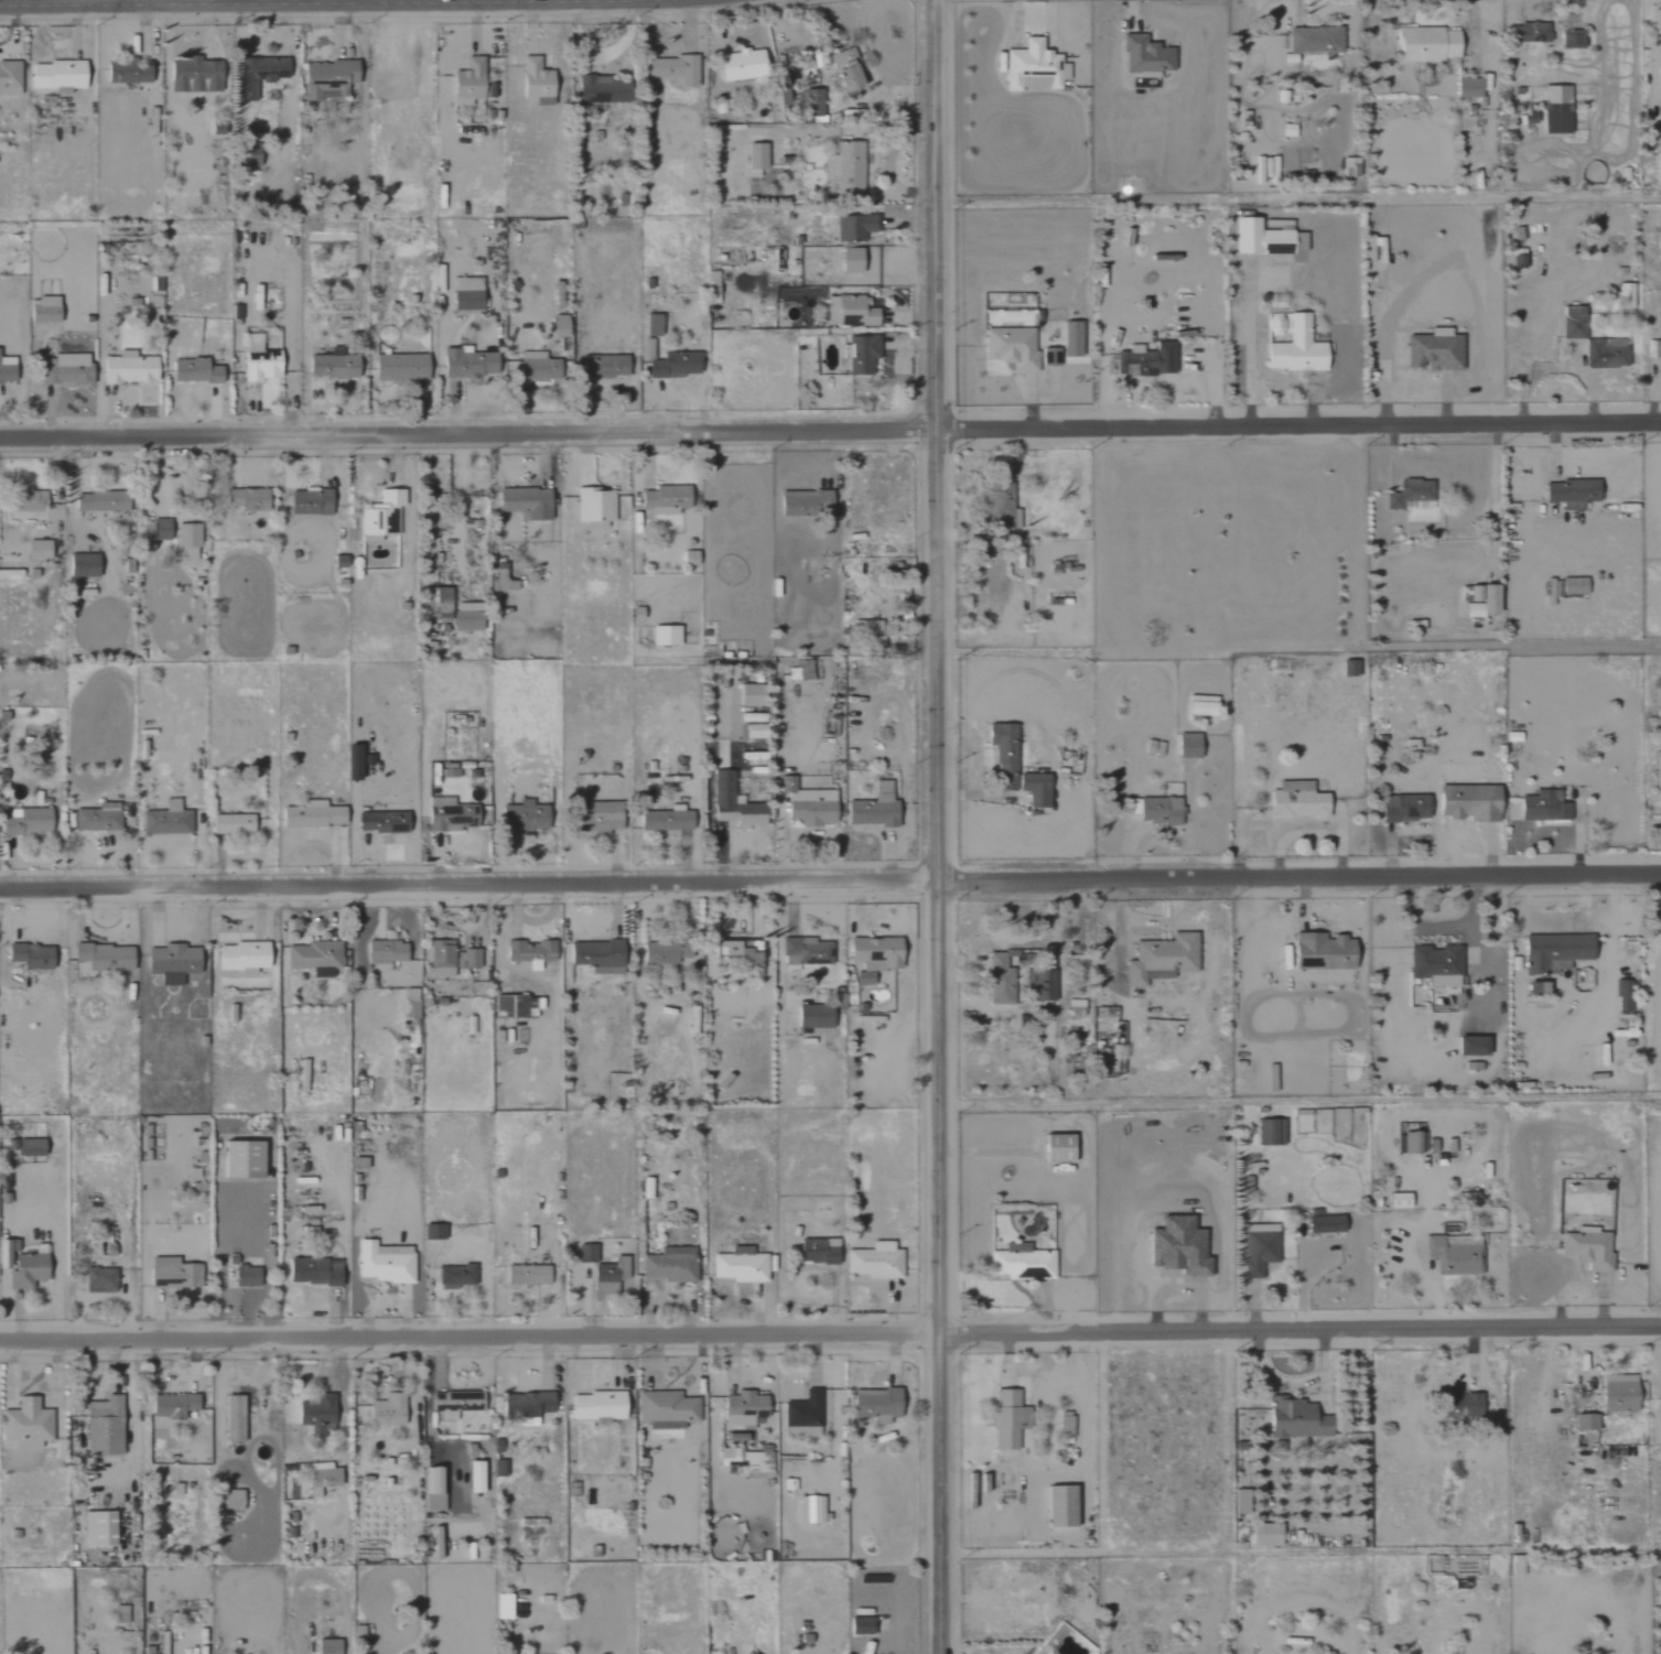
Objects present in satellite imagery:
road: (537, 0)
road: (349, 1)
building: (1529, 33)
building: (1313, 40)
building: (1570, 40)
building: (1424, 44)
building: (1148, 57)
building: (746, 65)
building: (1035, 67)
building: (850, 69)
building: (263, 72)
building: (687, 72)
building: (131, 74)
building: (61, 76)
building: (198, 77)
building: (10, 79)
building: (332, 79)
building: (472, 82)
building: (539, 83)
building: (1465, 88)
building: (607, 89)
building: (1554, 109)
building: (1285, 130)
building: (1655, 142)
building: (759, 156)
building: (1349, 166)
building: (848, 171)
building: (858, 228)
building: (1263, 238)
building: (855, 261)
building: (470, 295)
building: (46, 310)
building: (859, 312)
building: (1568, 312)
building: (1273, 324)
building: (656, 326)
building: (562, 327)
building: (1571, 327)
building: (1069, 338)
building: (1010, 347)
building: (1293, 347)
building: (1655, 348)
building: (650, 349)
building: (1432, 349)
building: (1604, 353)
building: (864, 354)
building: (1145, 359)
building: (263, 360)
building: (472, 364)
building: (608, 366)
building: (677, 366)
building: (336, 367)
building: (540, 367)
building: (131, 368)
building: (403, 368)
building: (68, 369)
building: (8, 370)
building: (198, 372)
road: (830, 426)
building: (1570, 493)
building: (1407, 496)
building: (669, 499)
building: (251, 500)
building: (105, 501)
building: (807, 502)
building: (529, 504)
building: (313, 505)
building: (597, 506)
building: (1001, 514)
building: (382, 515)
building: (163, 530)
building: (190, 542)
building: (41, 551)
building: (87, 566)
building: (506, 580)
building: (1572, 586)
building: (1479, 601)
building: (442, 605)
building: (470, 617)
building: (869, 633)
building: (668, 636)
building: (1346, 669)
building: (747, 694)
building: (1197, 707)
building: (1186, 746)
building: (356, 763)
building: (1013, 767)
building: (1294, 800)
building: (1467, 802)
building: (731, 803)
building: (809, 807)
building: (871, 807)
building: (1541, 807)
building: (1402, 809)
building: (1156, 811)
building: (315, 815)
building: (453, 815)
building: (528, 815)
building: (601, 818)
building: (98, 819)
building: (168, 820)
building: (664, 821)
building: (32, 822)
building: (386, 822)
building: (234, 823)
road: (937, 826)
road: (779, 842)
road: (830, 876)
building: (389, 952)
building: (1319, 952)
building: (1552, 952)
building: (659, 953)
building: (734, 953)
building: (806, 953)
building: (873, 953)
building: (532, 954)
building: (34, 955)
building: (597, 955)
building: (108, 956)
building: (246, 956)
building: (316, 958)
building: (444, 959)
building: (470, 959)
building: (1160, 959)
building: (175, 963)
building: (1434, 965)
building: (997, 980)
building: (1620, 992)
building: (517, 1007)
building: (1074, 1008)
building: (811, 1016)
building: (1470, 1046)
building: (1407, 1143)
building: (33, 1147)
building: (1053, 1148)
building: (246, 1159)
building: (1395, 1200)
building: (1323, 1224)
building: (435, 1232)
building: (817, 1251)
building: (1255, 1253)
building: (589, 1254)
building: (1453, 1256)
building: (386, 1262)
building: (872, 1262)
building: (1020, 1263)
building: (668, 1265)
building: (737, 1267)
building: (31, 1271)
building: (317, 1271)
building: (176, 1274)
building: (530, 1275)
building: (610, 1275)
building: (249, 1276)
building: (457, 1276)
building: (103, 1280)
road: (830, 1327)
building: (1616, 1393)
building: (875, 1403)
building: (457, 1404)
building: (529, 1405)
building: (1457, 1405)
building: (175, 1406)
building: (597, 1406)
building: (665, 1409)
building: (741, 1409)
building: (389, 1410)
building: (1660, 1410)
building: (319, 1415)
building: (801, 1415)
building: (237, 1419)
building: (1006, 1419)
building: (1294, 1419)
building: (1583, 1423)
building: (29, 1424)
building: (1064, 1426)
building: (107, 1427)
building: (500, 1469)
building: (324, 1478)
building: (478, 1478)
building: (435, 1489)
building: (234, 1500)
building: (1238, 1502)
building: (812, 1507)
building: (104, 1529)
building: (1263, 1535)
building: (440, 1543)
building: (506, 1607)
building: (122, 1614)
building: (859, 1624)
building: (331, 1646)
building: (1659, 1647)

